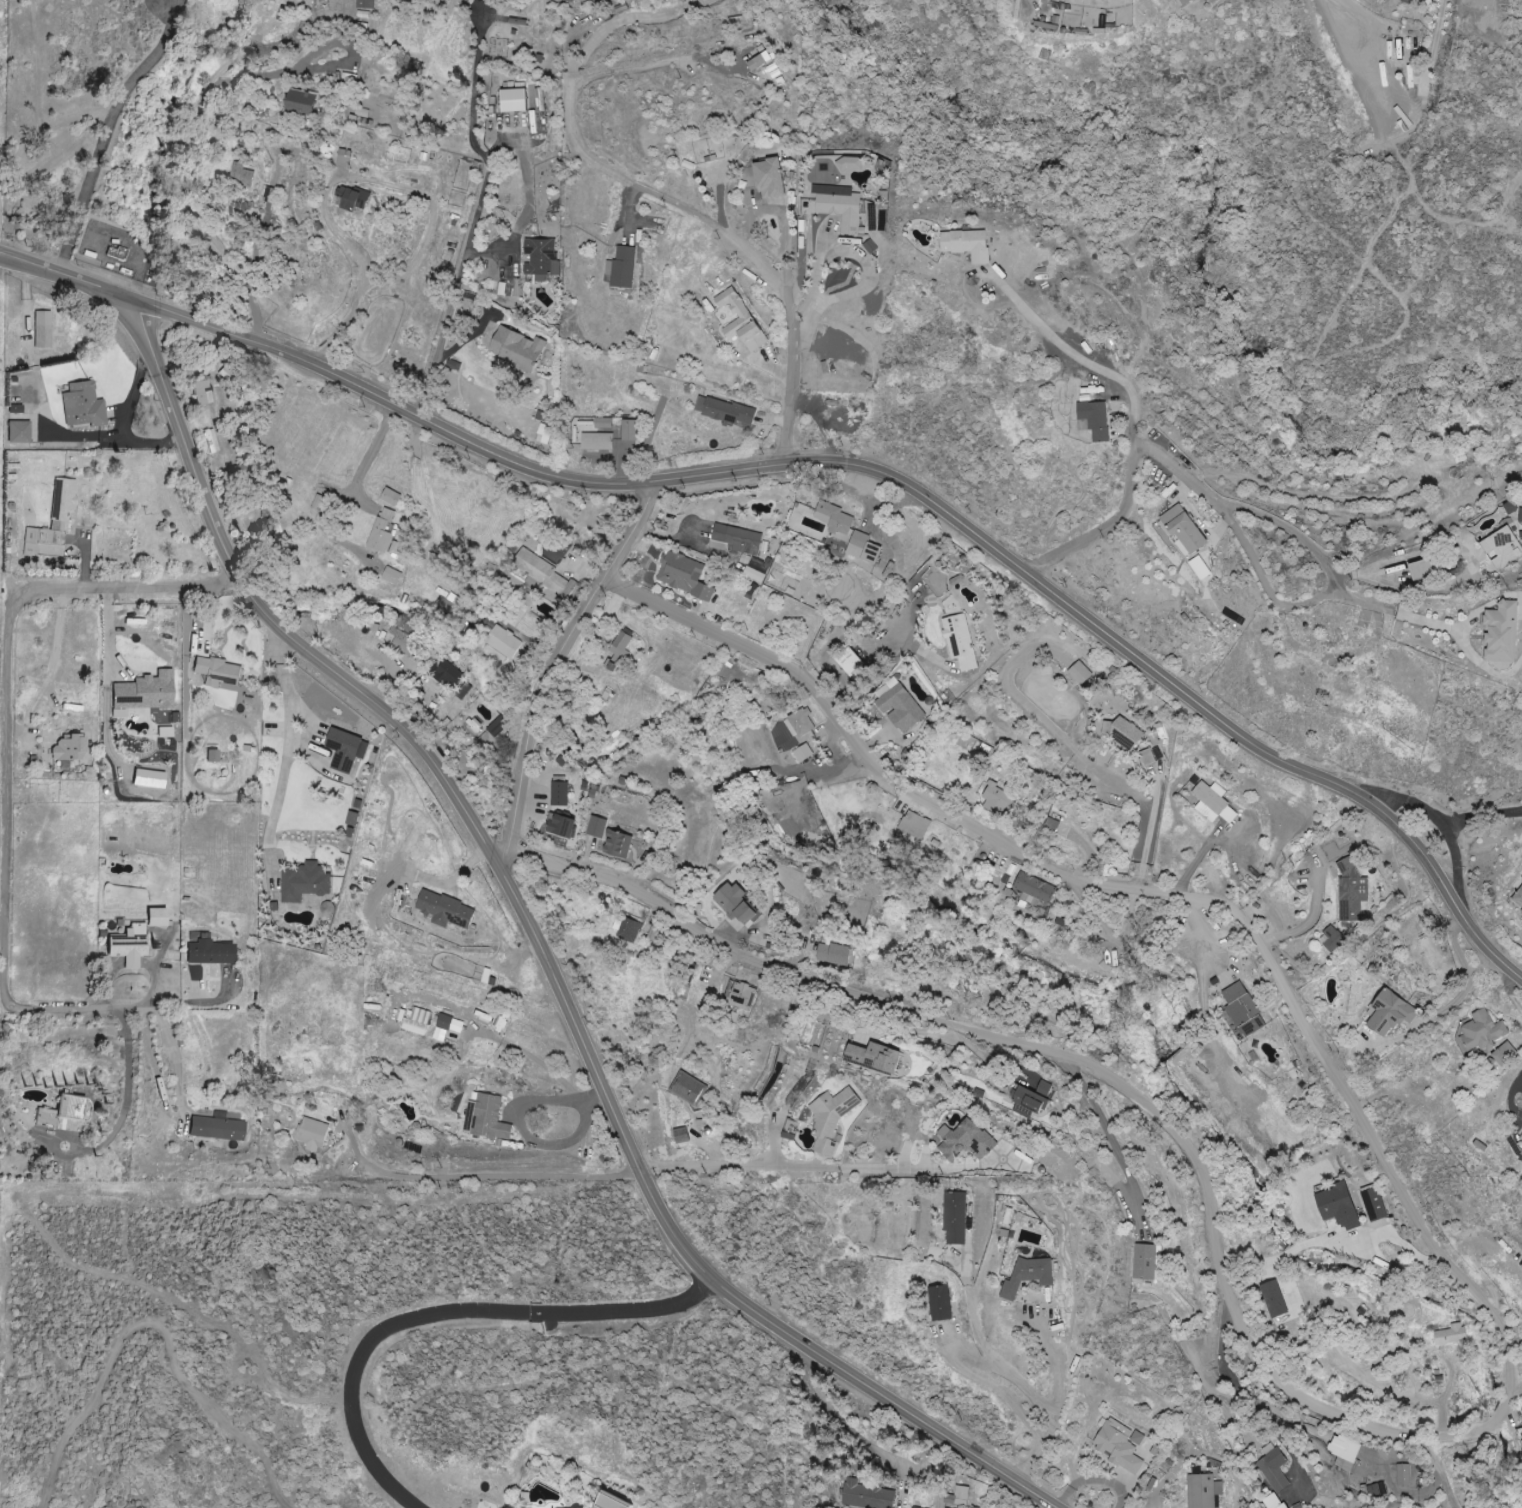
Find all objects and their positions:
building: (1191, 0)
building: (366, 4)
building: (1023, 13)
road: (624, 19)
building: (1414, 55)
building: (761, 60)
road: (319, 67)
building: (349, 77)
building: (516, 100)
building: (303, 102)
building: (360, 113)
road: (108, 130)
building: (0, 141)
building: (345, 159)
building: (851, 163)
road: (179, 165)
building: (243, 175)
road: (338, 178)
building: (772, 178)
building: (355, 197)
building: (841, 205)
road: (481, 217)
road: (716, 223)
building: (969, 244)
building: (543, 258)
building: (623, 267)
road: (870, 272)
building: (743, 320)
building: (41, 330)
building: (520, 348)
road: (1087, 360)
building: (202, 393)
building: (82, 405)
building: (14, 409)
building: (726, 410)
building: (1095, 420)
building: (605, 423)
building: (631, 430)
building: (17, 432)
building: (544, 433)
building: (210, 441)
building: (598, 441)
road: (376, 447)
road: (1179, 460)
road: (831, 466)
building: (392, 497)
building: (1512, 507)
building: (1521, 515)
building: (835, 518)
building: (51, 525)
road: (1116, 527)
building: (1187, 529)
building: (383, 532)
road: (1313, 533)
building: (740, 539)
building: (865, 547)
building: (1504, 547)
building: (1425, 569)
building: (542, 570)
building: (756, 574)
building: (685, 575)
building: (393, 576)
road: (1266, 576)
road: (251, 590)
road: (1398, 611)
building: (1504, 632)
building: (404, 642)
building: (505, 642)
building: (961, 642)
building: (620, 650)
road: (556, 663)
building: (855, 664)
building: (217, 671)
building: (447, 673)
building: (1081, 673)
building: (144, 692)
building: (902, 708)
building: (801, 723)
building: (498, 726)
building: (164, 732)
building: (1128, 734)
road: (5, 738)
building: (68, 748)
building: (348, 750)
road: (288, 752)
building: (804, 753)
building: (1152, 756)
road: (839, 766)
building: (561, 793)
building: (998, 800)
building: (1214, 802)
road: (1483, 813)
road: (1443, 820)
building: (563, 825)
building: (917, 825)
building: (598, 826)
building: (619, 843)
road: (1147, 846)
road: (1196, 859)
building: (306, 882)
building: (1351, 891)
road: (1147, 893)
building: (1518, 899)
building: (739, 904)
building: (447, 910)
road: (1312, 916)
building: (156, 917)
building: (629, 929)
building: (1333, 939)
building: (128, 945)
building: (209, 953)
building: (835, 954)
building: (743, 996)
road: (1456, 999)
building: (1245, 1009)
building: (1390, 1012)
building: (417, 1021)
building: (448, 1029)
building: (1483, 1030)
building: (1506, 1053)
road: (1057, 1055)
building: (879, 1056)
road: (126, 1059)
building: (1034, 1096)
building: (62, 1114)
road: (174, 1115)
building: (832, 1117)
building: (490, 1118)
road: (520, 1120)
building: (216, 1127)
building: (312, 1134)
building: (1521, 1137)
building: (968, 1140)
road: (1116, 1144)
road: (802, 1171)
road: (484, 1177)
building: (1373, 1203)
building: (1340, 1205)
building: (956, 1216)
building: (969, 1218)
road: (1341, 1235)
road: (695, 1256)
building: (1146, 1261)
building: (1030, 1275)
building: (1274, 1299)
building: (943, 1302)
road: (446, 1312)
building: (1453, 1334)
road: (1439, 1354)
road: (1016, 1375)
road: (976, 1377)
road: (1246, 1393)
road: (847, 1427)
building: (1120, 1445)
road: (1491, 1446)
building: (1345, 1451)
building: (1274, 1467)
building: (1405, 1474)
road: (1093, 1479)
road: (1454, 1481)
building: (1204, 1490)
building: (1374, 1491)
building: (869, 1495)
building: (959, 1496)
building: (1274, 1501)
building: (614, 1502)
road: (1455, 1504)
building: (918, 1507)

